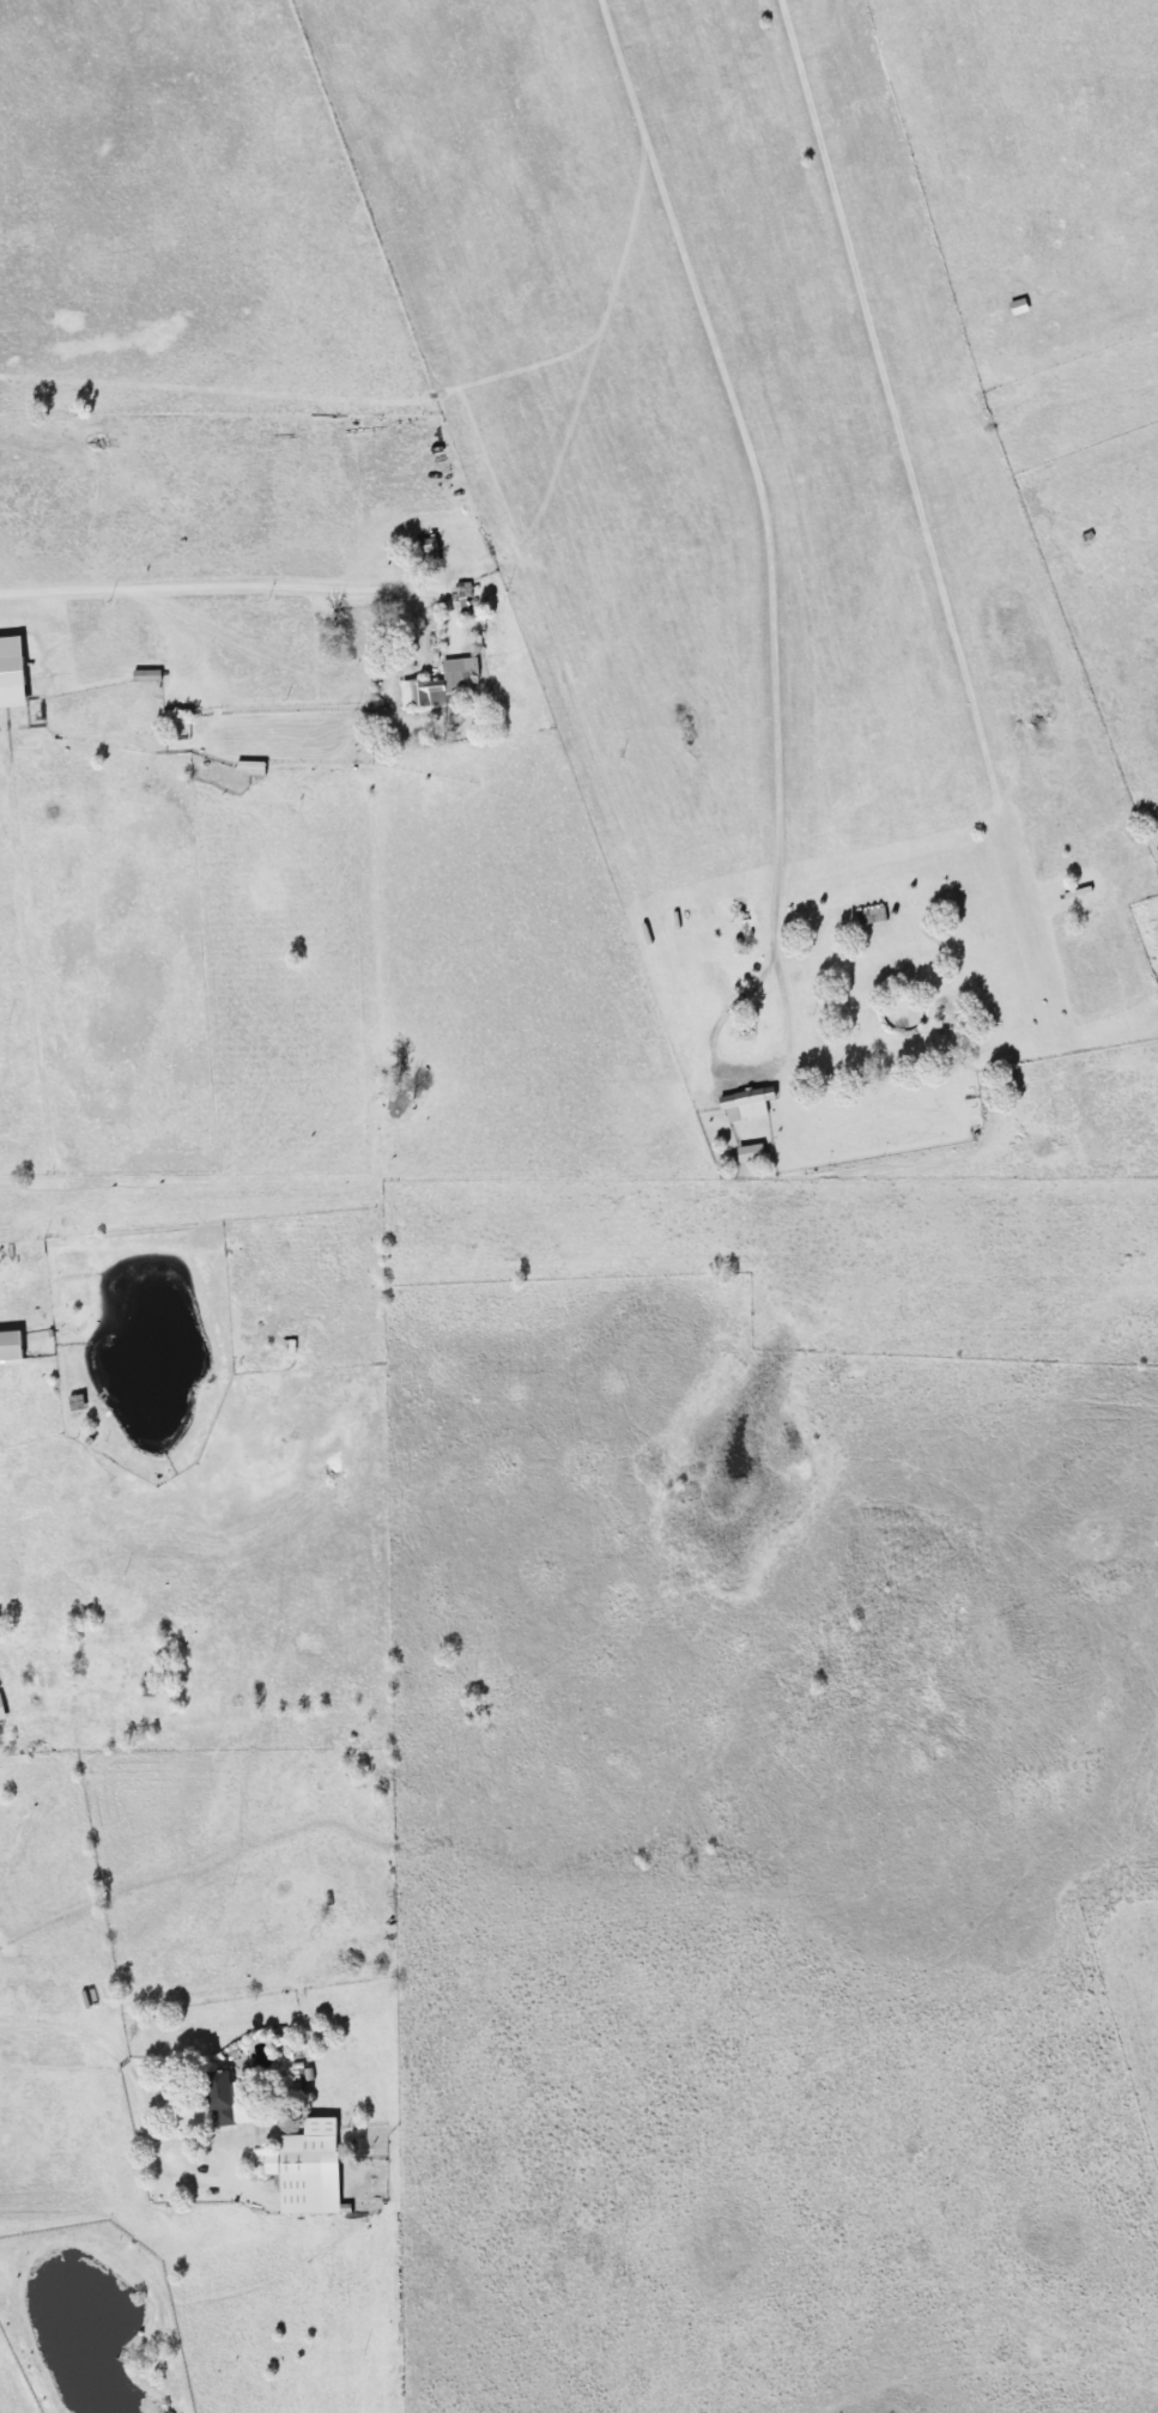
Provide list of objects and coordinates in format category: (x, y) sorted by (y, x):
building: (1012, 307)
road: (748, 461)
building: (423, 551)
road: (219, 586)
building: (434, 683)
building: (244, 766)
building: (95, 768)
building: (867, 915)
road: (733, 1066)
building: (745, 1103)
building: (741, 1154)
building: (7, 1345)
road: (129, 2072)
building: (214, 2098)
building: (296, 2156)

